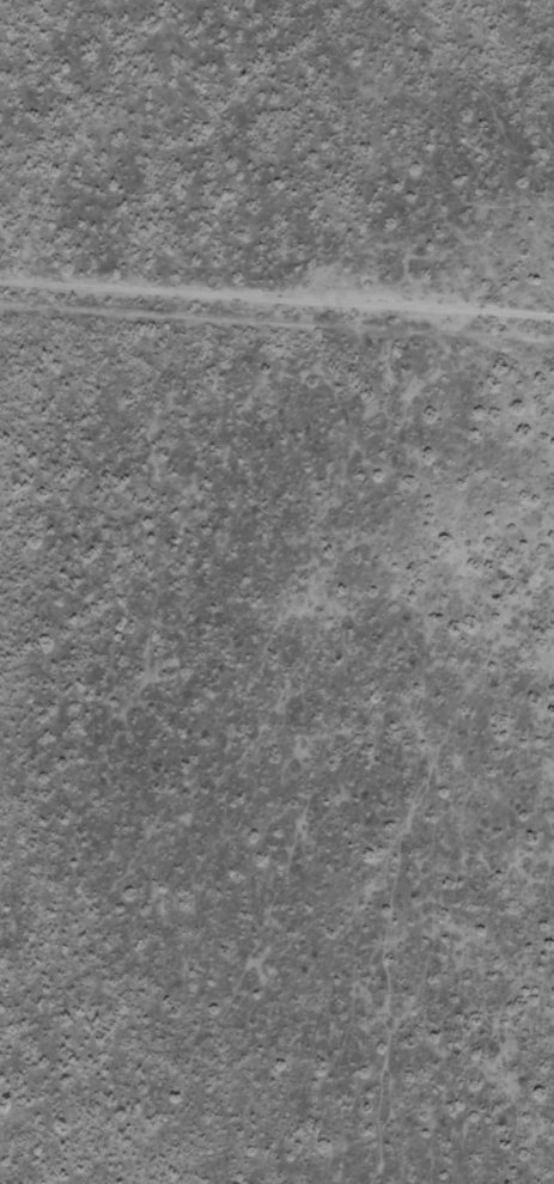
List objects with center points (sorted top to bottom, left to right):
road: (276, 346)

